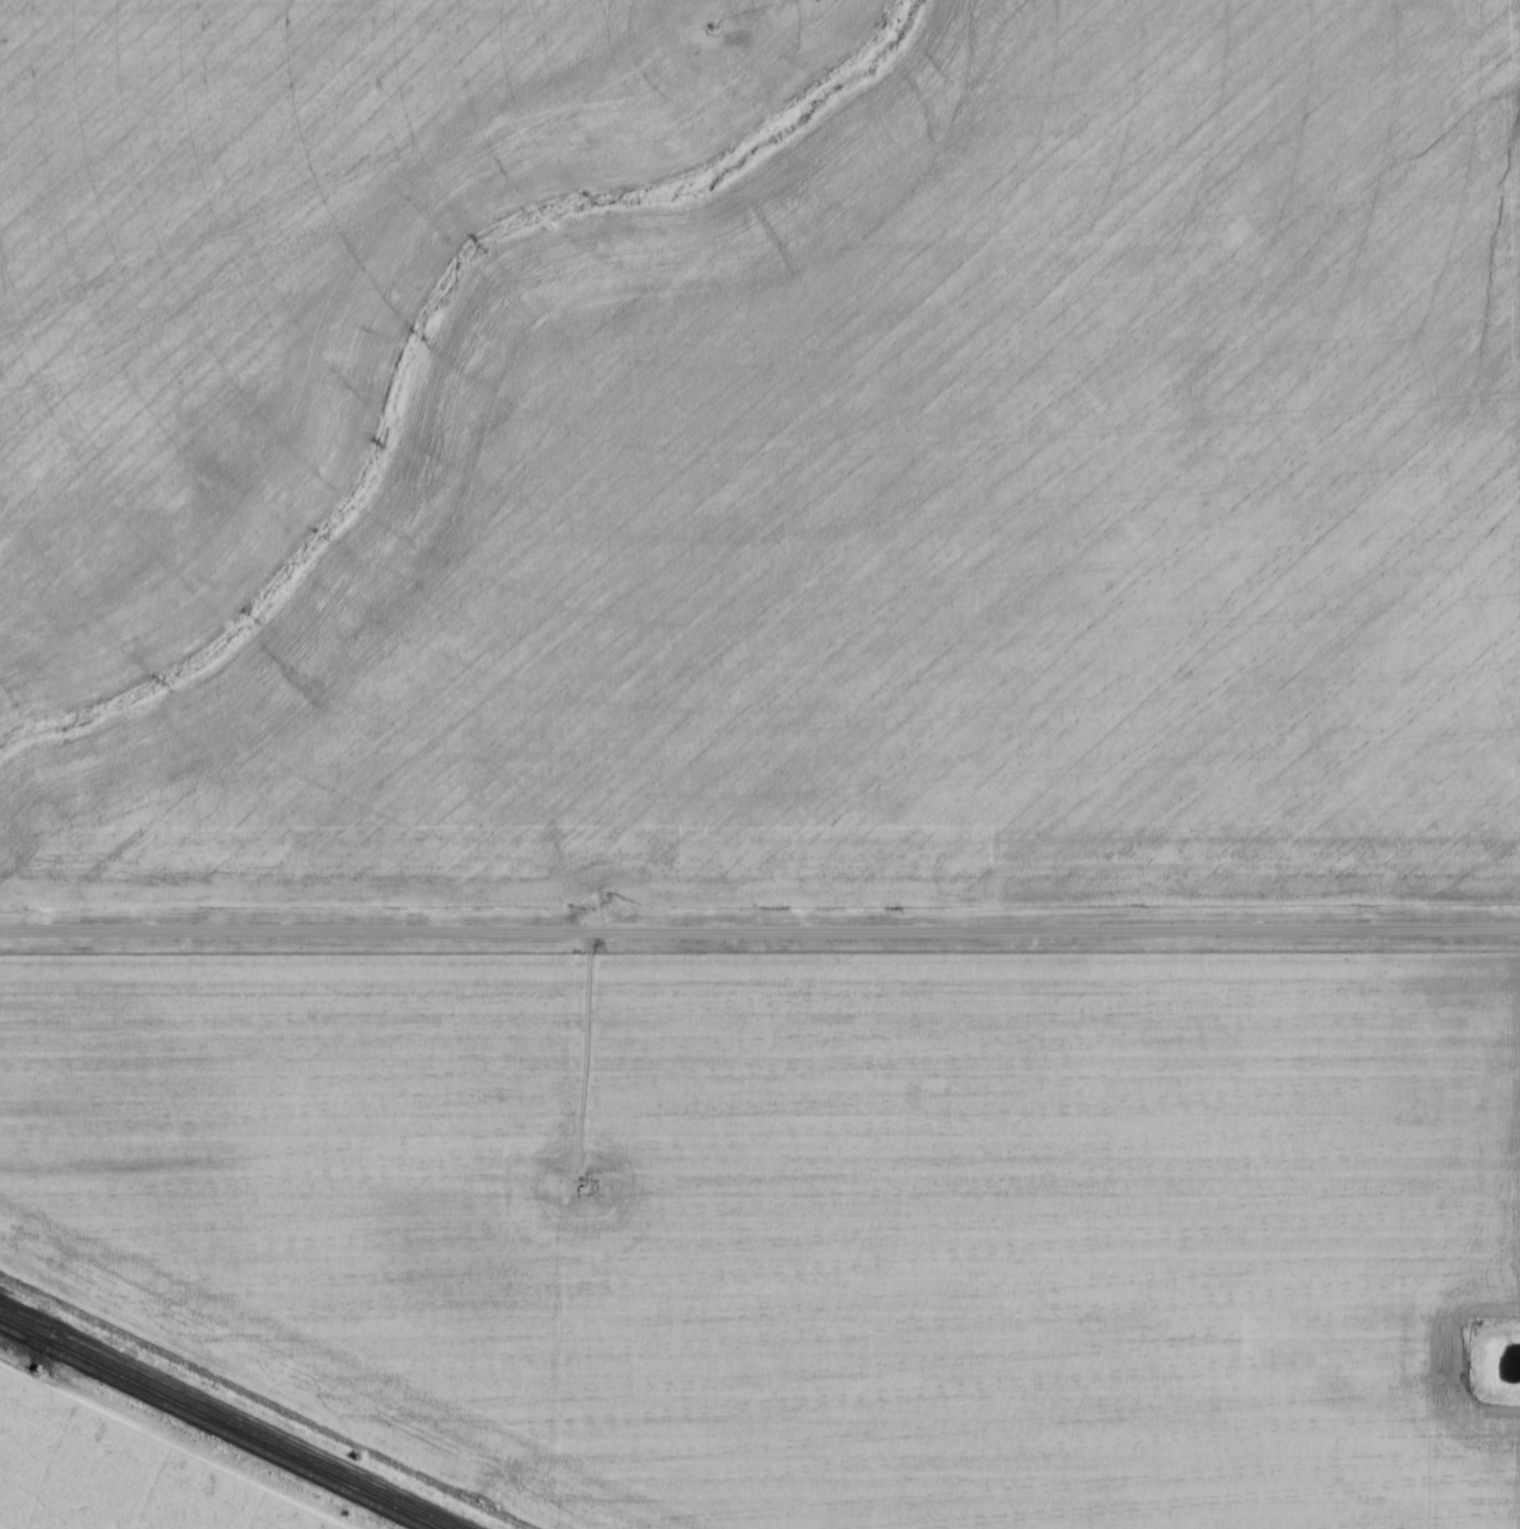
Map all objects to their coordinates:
road: (760, 931)
crop: (806, 1226)
railway: (229, 1419)
railway: (209, 1428)
crop: (104, 1478)

